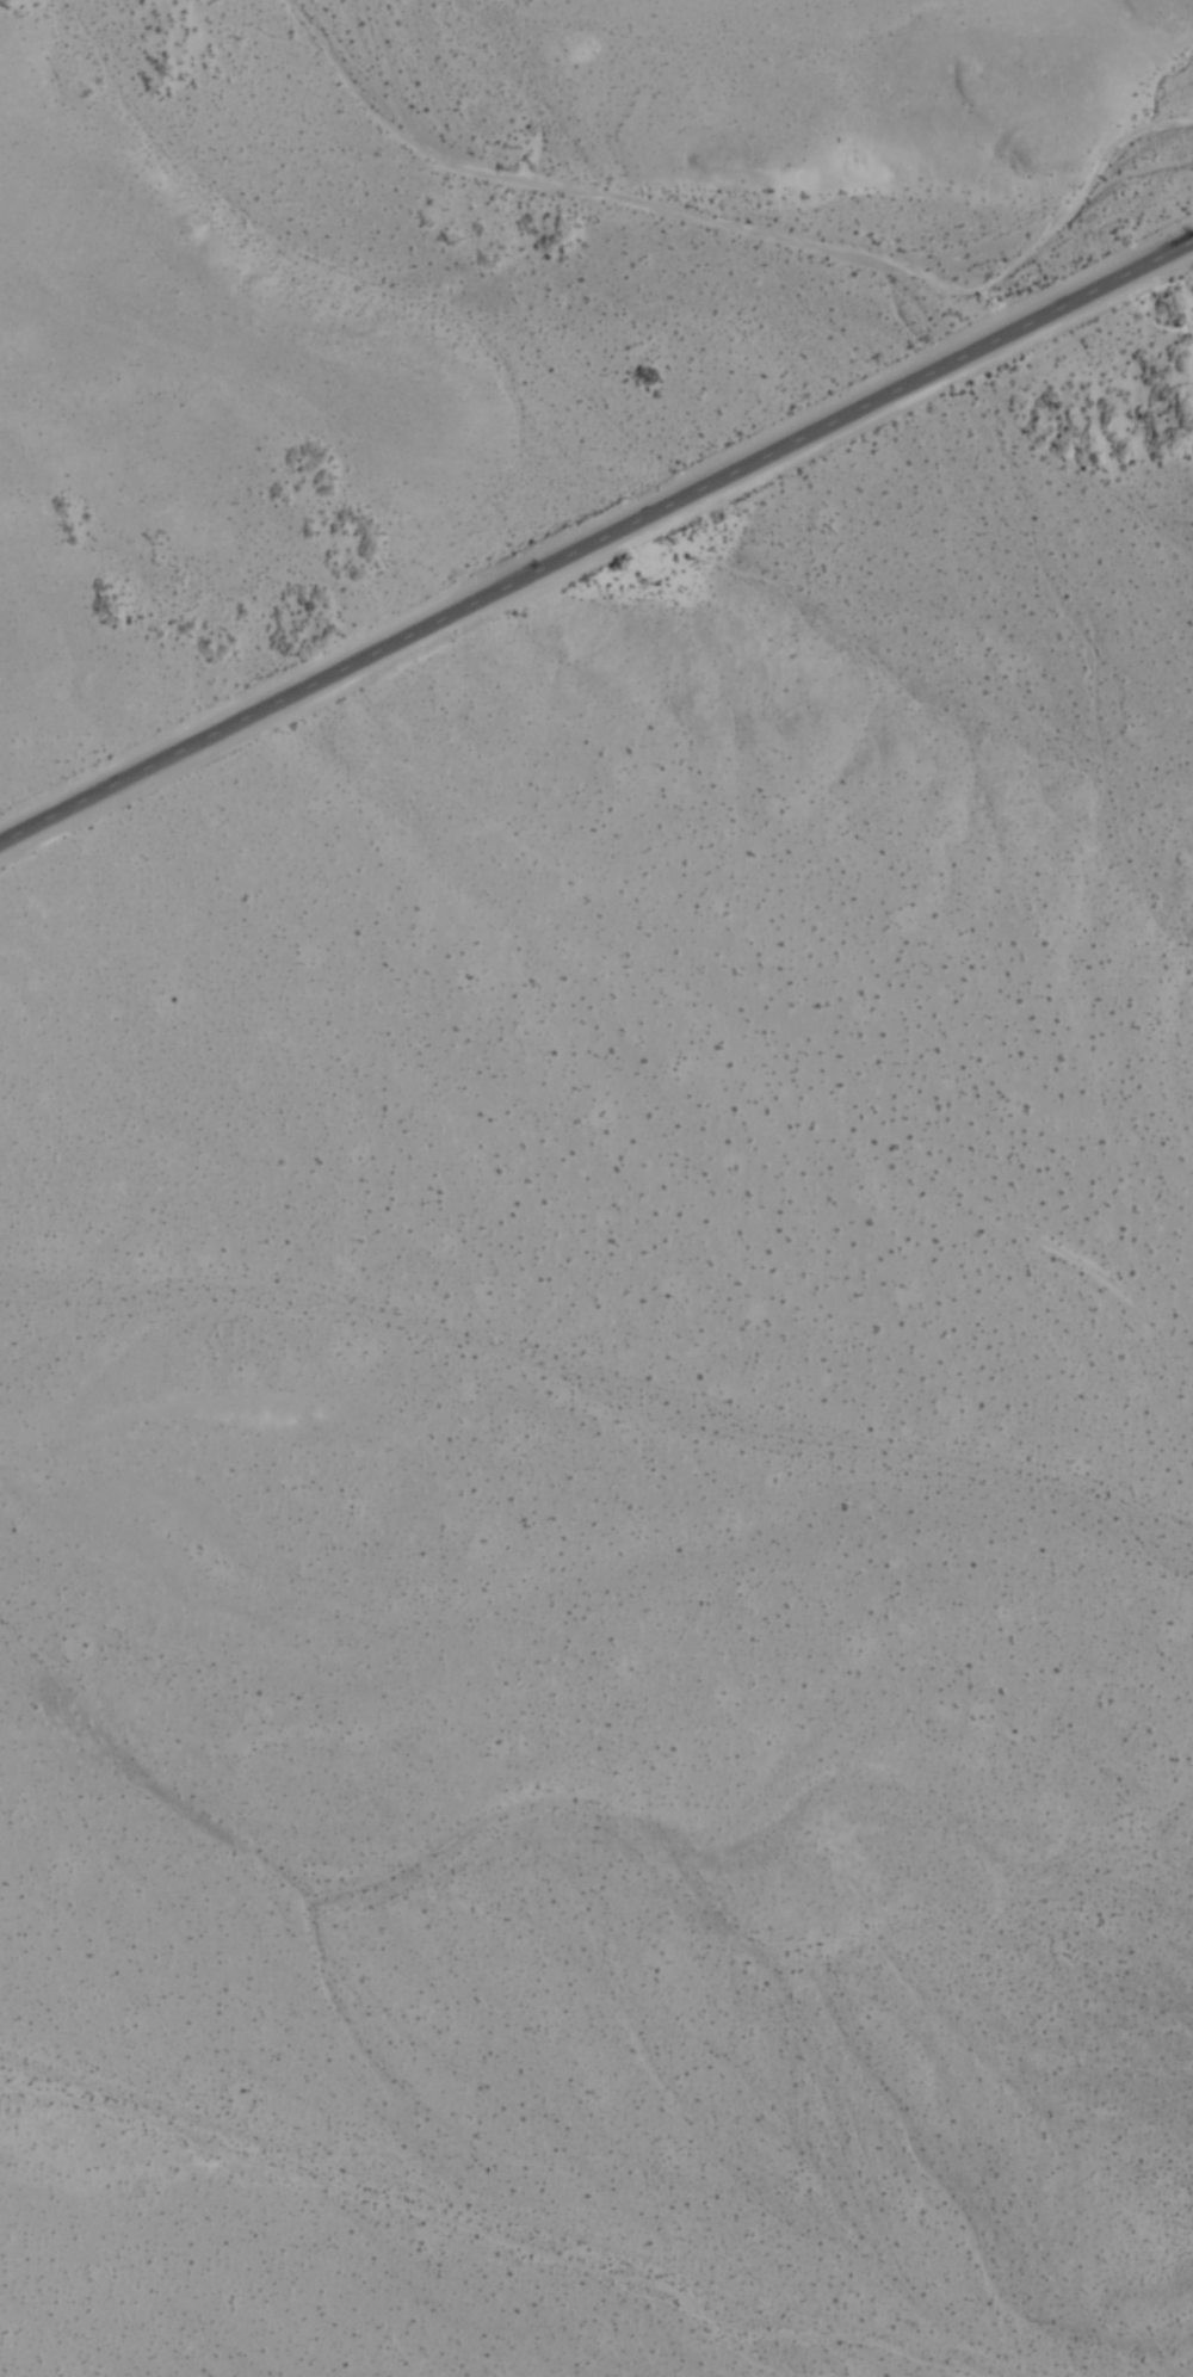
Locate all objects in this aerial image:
road: (595, 539)

